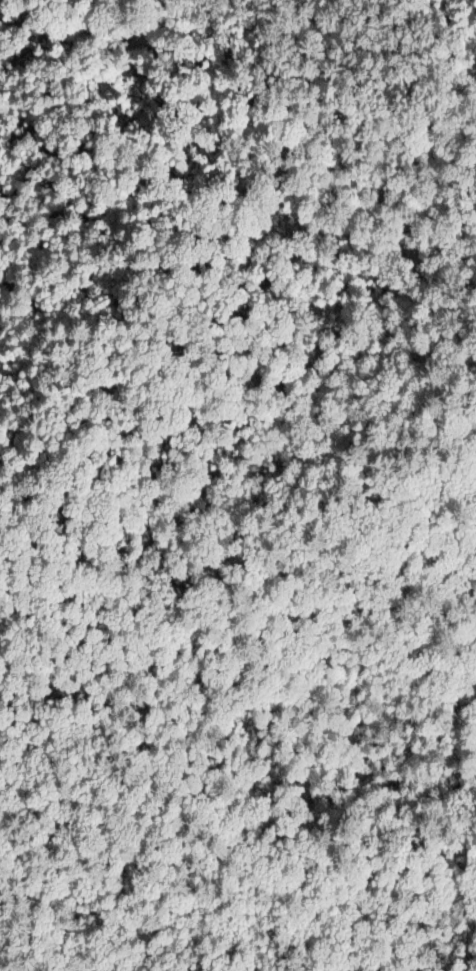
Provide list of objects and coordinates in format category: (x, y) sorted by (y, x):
road: (394, 91)

